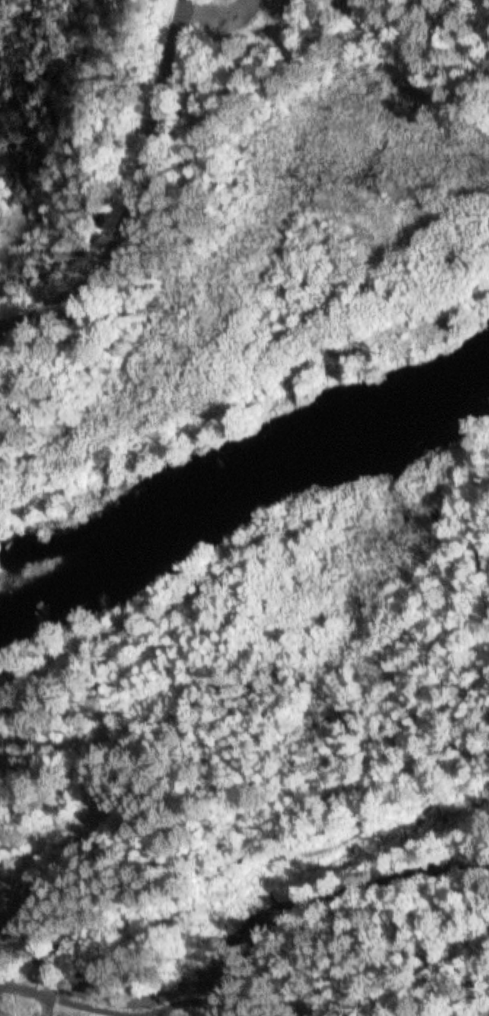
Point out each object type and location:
road: (141, 195)
river: (238, 472)
road: (472, 518)
road: (479, 559)
road: (476, 600)
road: (446, 669)
road: (449, 751)
road: (379, 797)
road: (208, 813)
road: (222, 863)
road: (323, 898)
road: (57, 950)
road: (2, 994)
road: (12, 996)
road: (42, 1001)
parking lot: (147, 1001)
road: (128, 1008)
road: (91, 1010)

